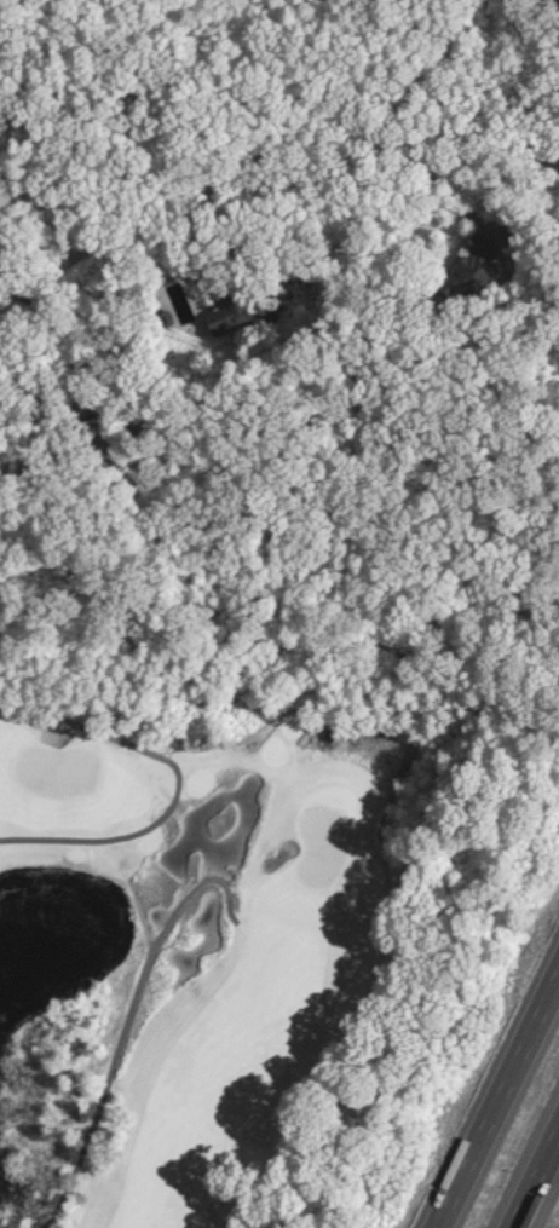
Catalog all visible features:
road: (543, 7)
road: (272, 186)
road: (451, 195)
building: (488, 248)
building: (221, 321)
road: (62, 338)
park: (52, 769)
road: (171, 784)
park: (318, 846)
road: (138, 918)
park: (278, 933)
road: (150, 936)
road: (126, 1021)
road: (492, 1089)
road: (531, 1171)

